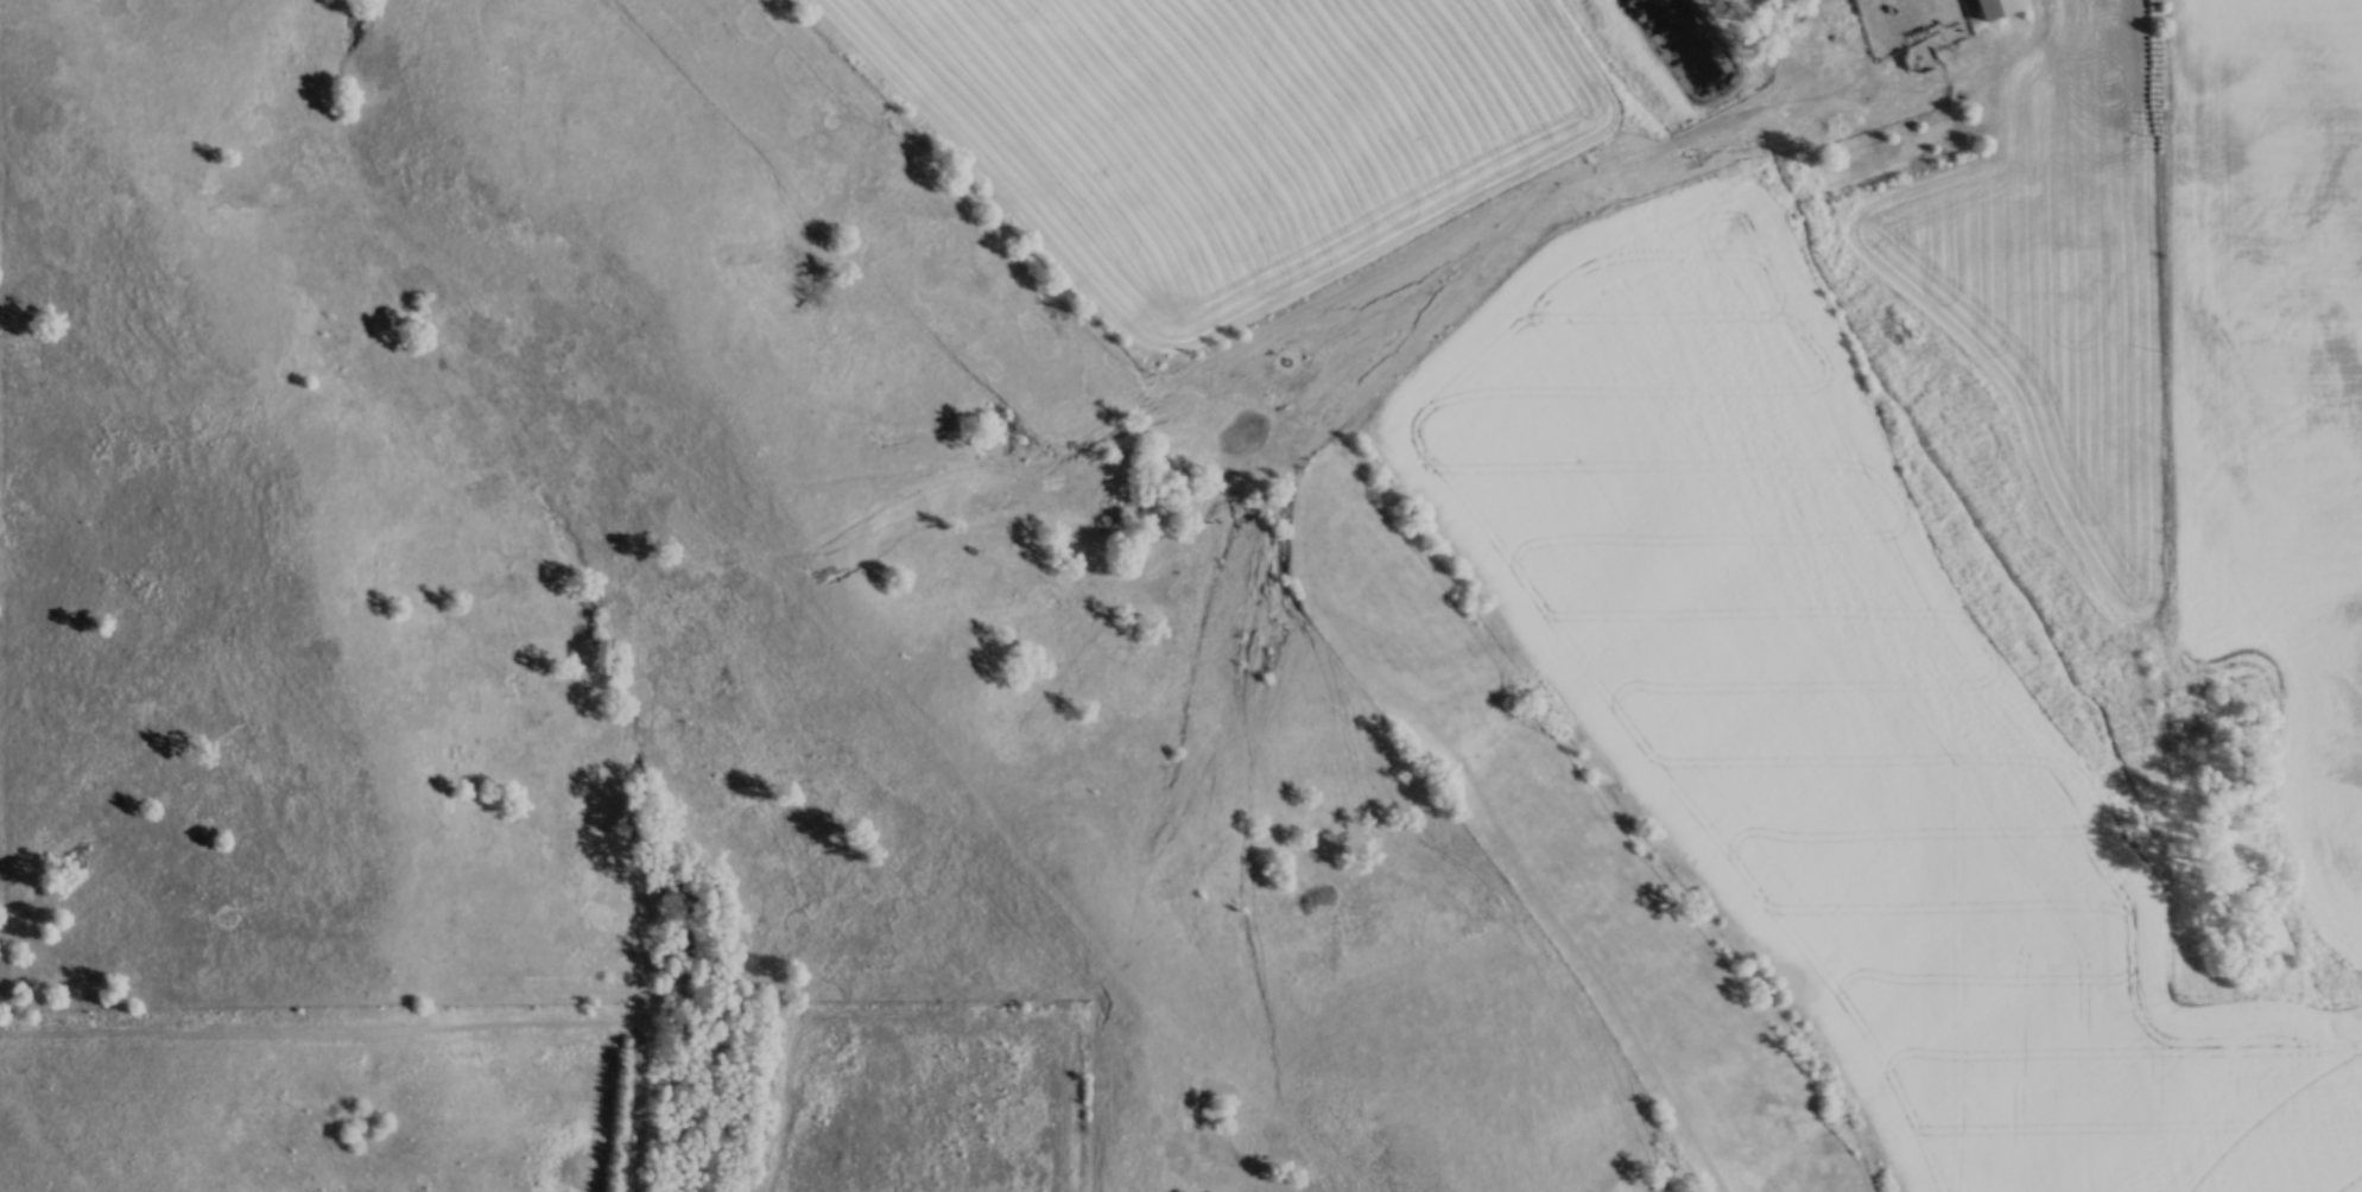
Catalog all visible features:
building: (1991, 6)

